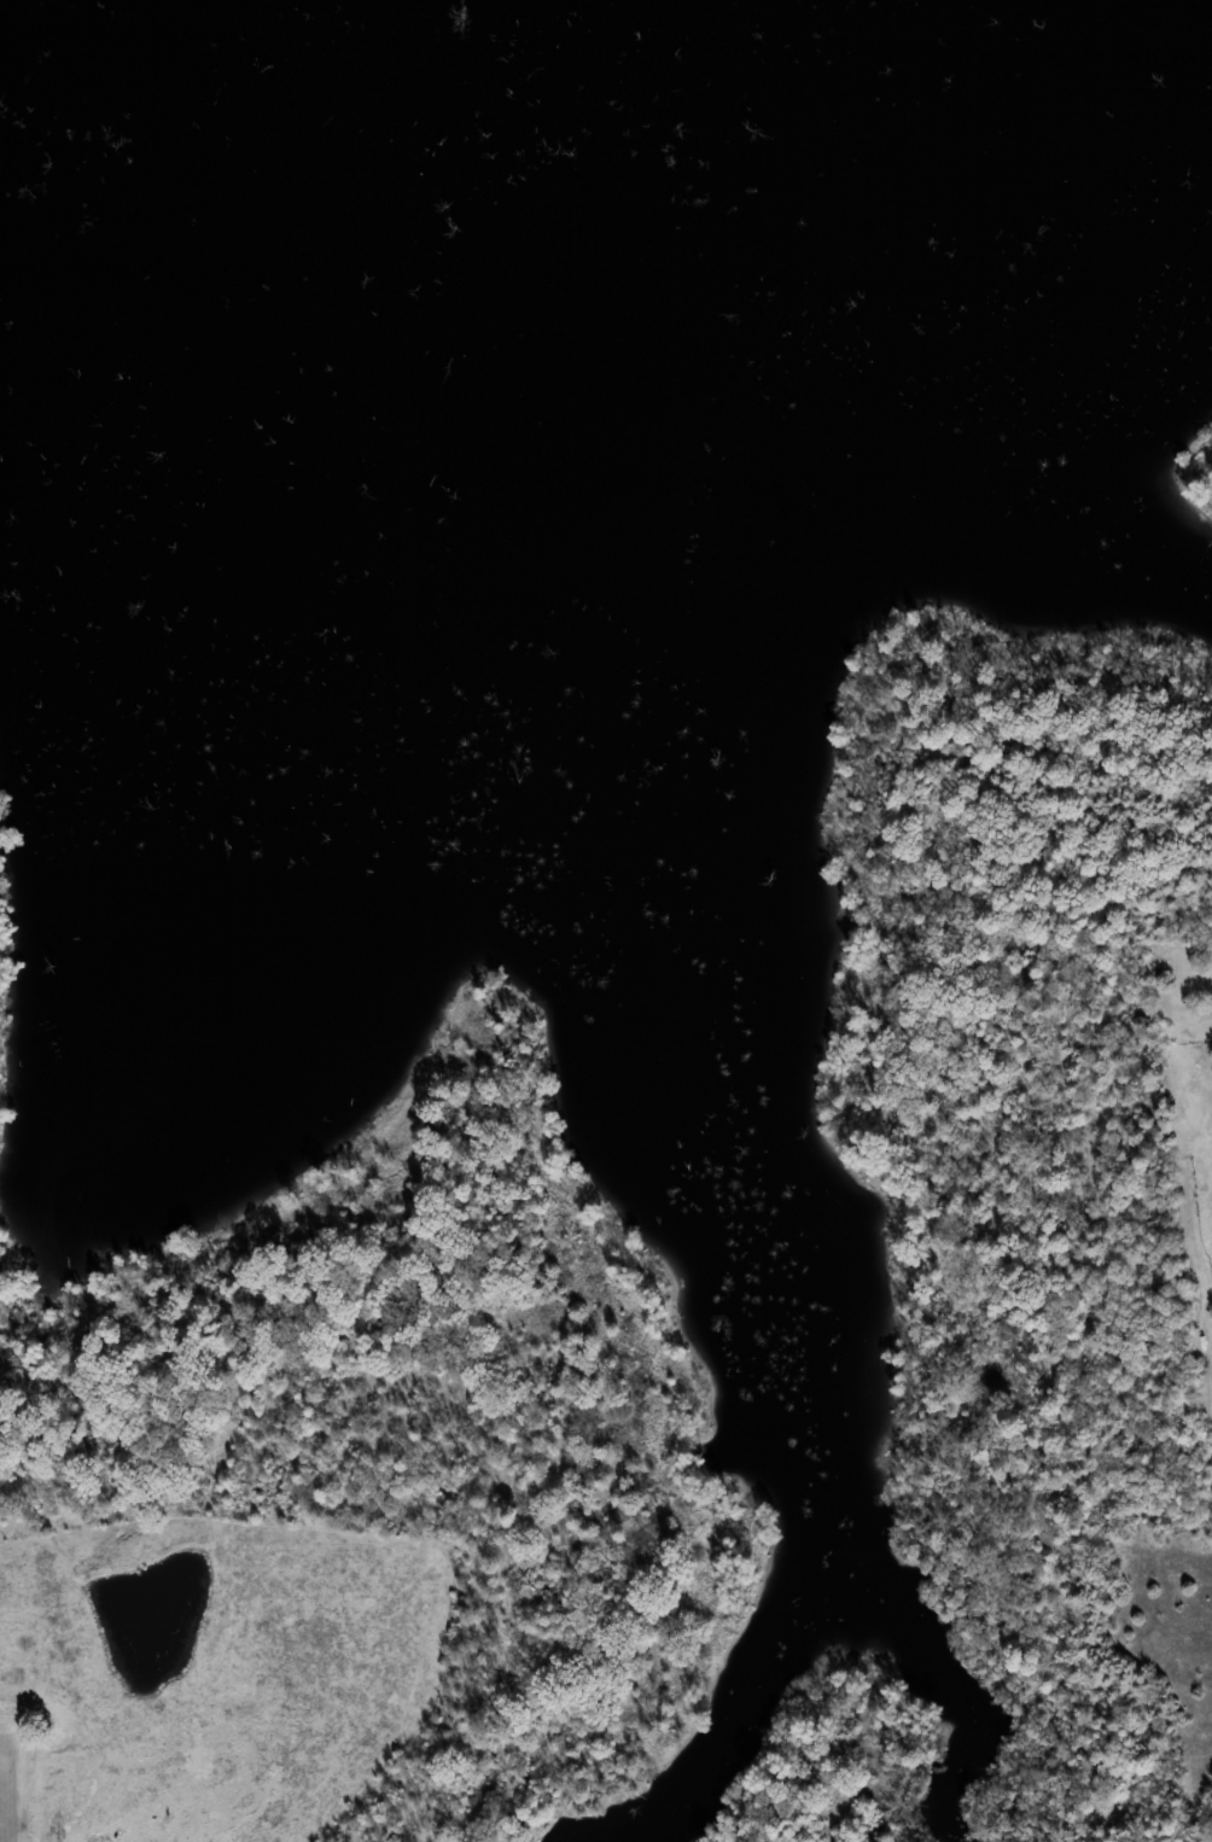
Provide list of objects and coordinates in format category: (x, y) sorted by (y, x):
road: (1210, 1458)

